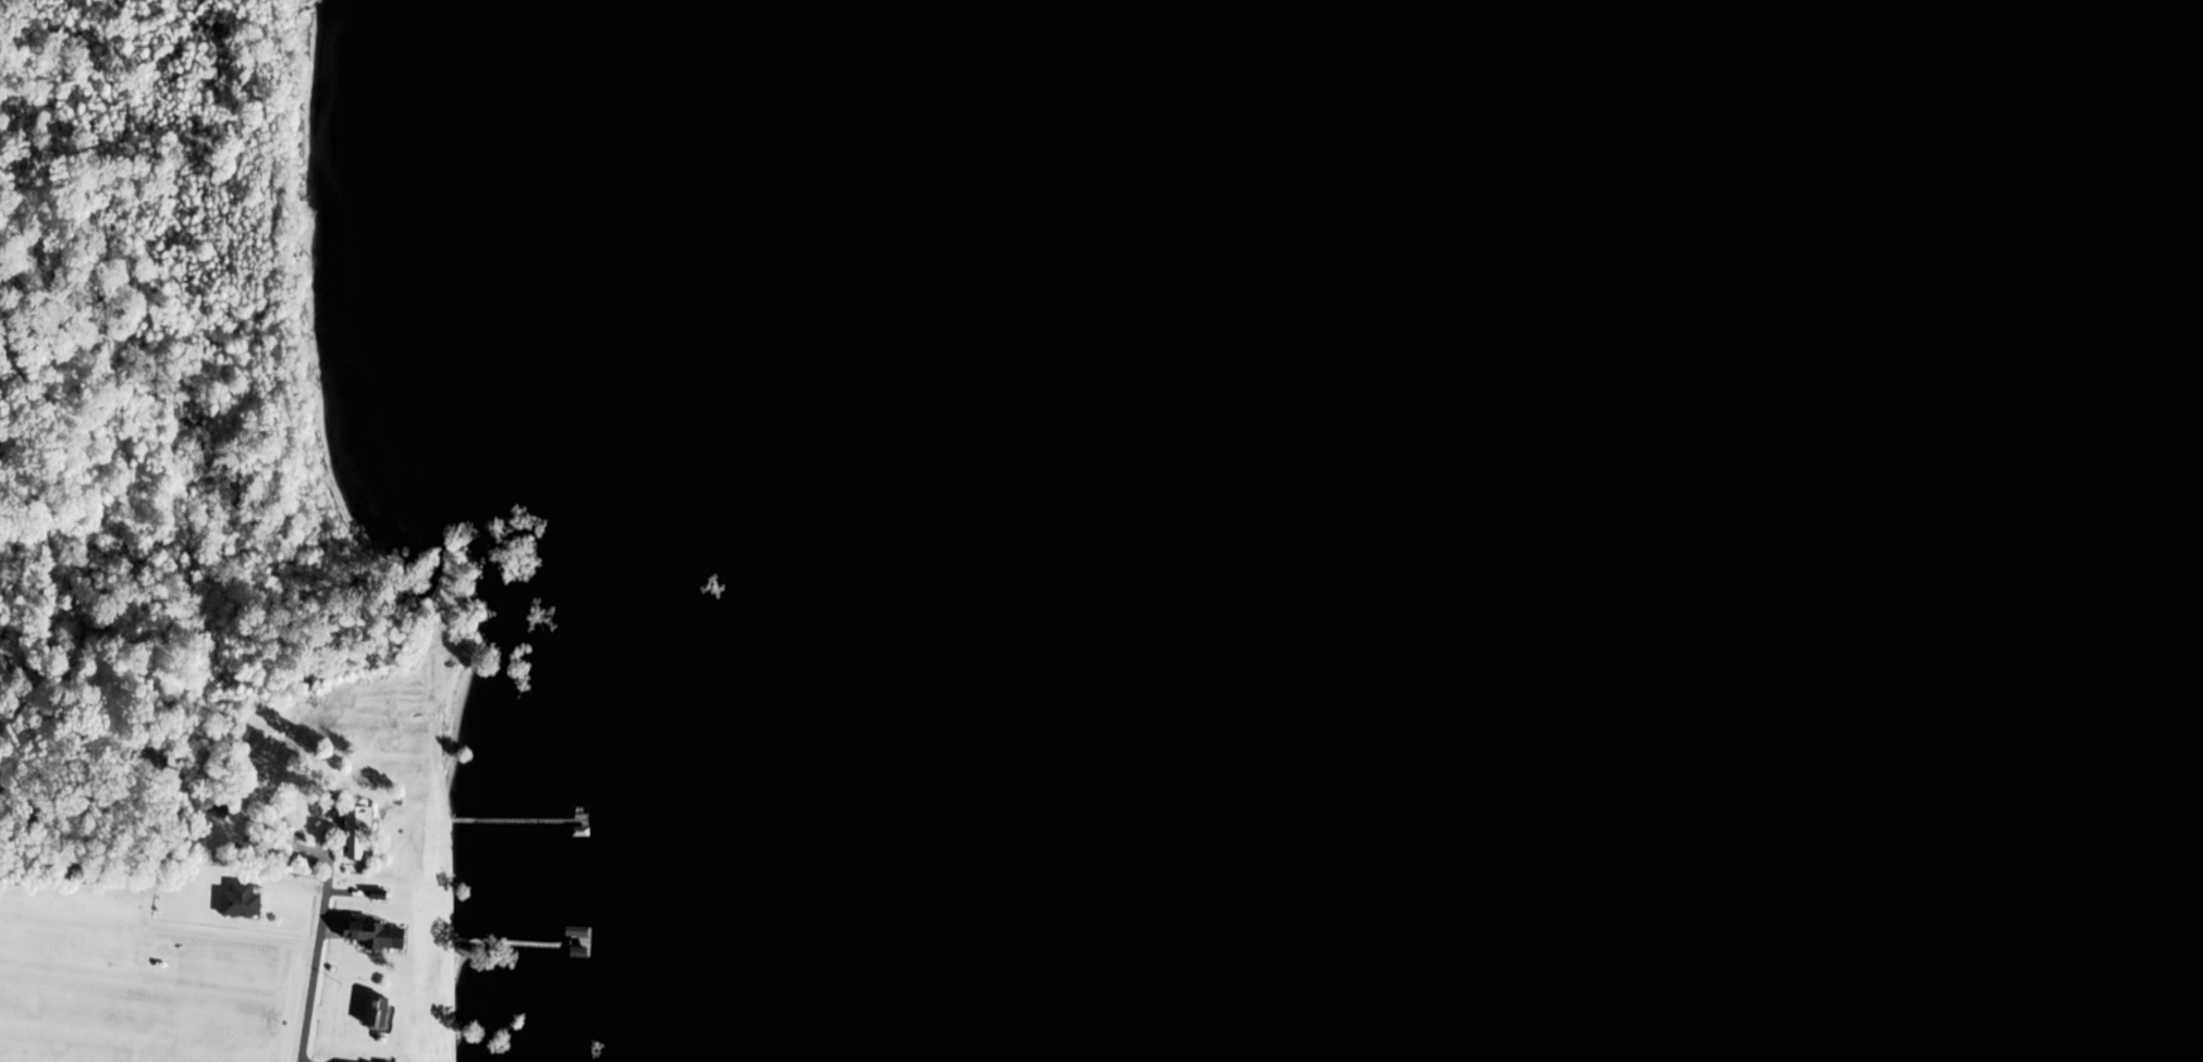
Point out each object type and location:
park: (166, 300)
building: (354, 824)
building: (238, 901)
building: (368, 934)
road: (311, 974)
building: (374, 1012)

